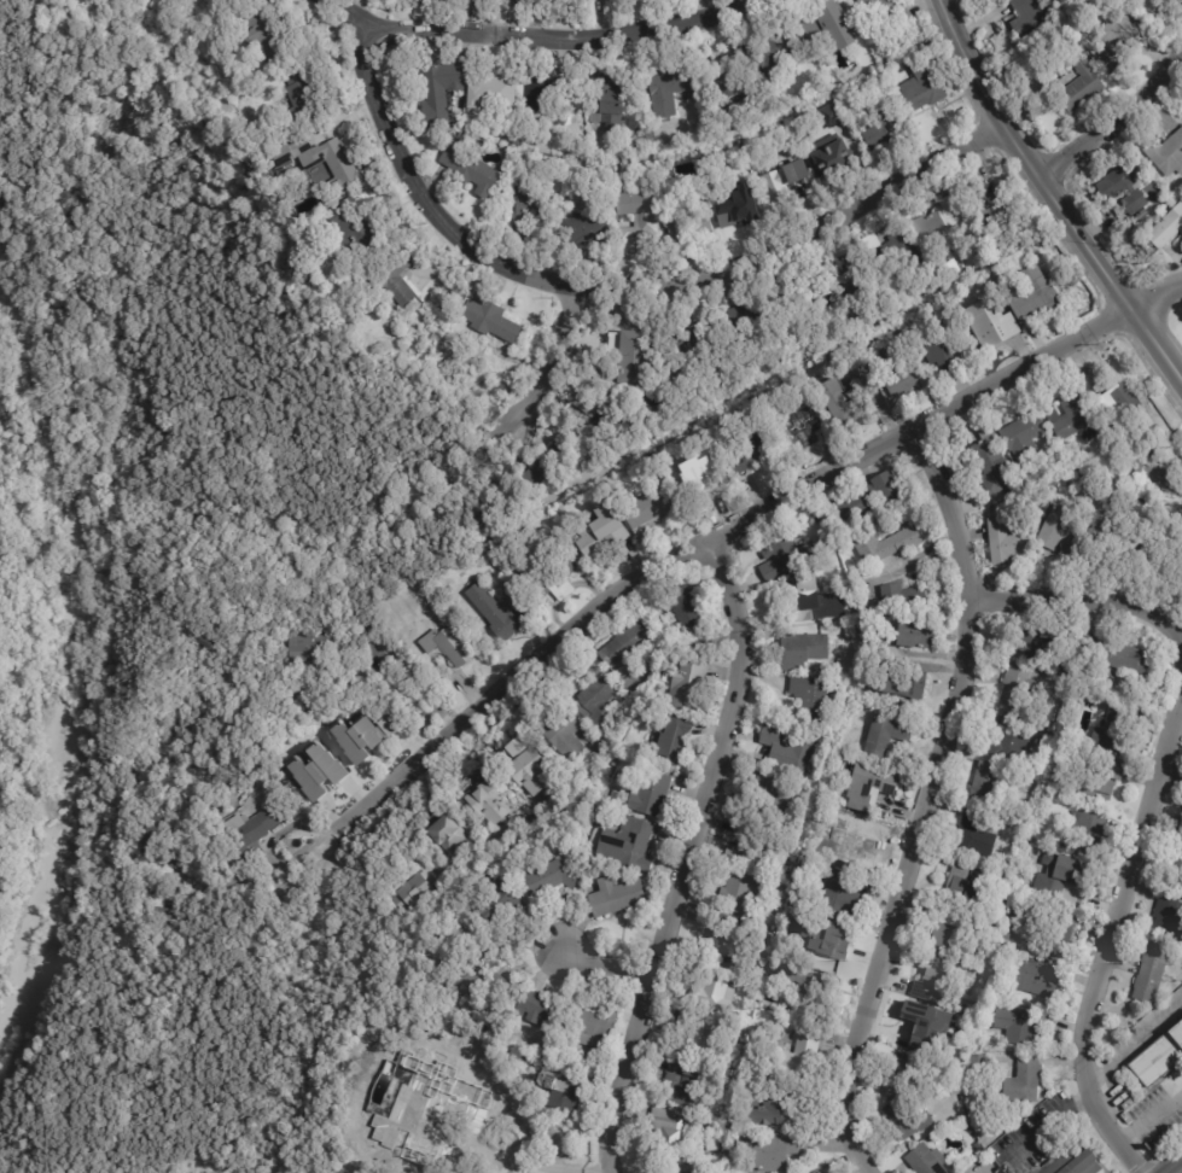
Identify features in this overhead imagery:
building: (219, 2)
building: (1146, 5)
building: (886, 12)
building: (121, 13)
building: (1029, 18)
building: (823, 25)
building: (262, 31)
road: (563, 35)
building: (1116, 42)
building: (774, 49)
building: (827, 57)
building: (727, 70)
building: (920, 86)
building: (1081, 88)
building: (493, 91)
building: (438, 92)
building: (670, 92)
building: (541, 97)
building: (843, 97)
building: (301, 98)
building: (609, 104)
building: (829, 115)
road: (1114, 124)
building: (881, 133)
building: (516, 142)
building: (526, 145)
building: (835, 151)
building: (1166, 154)
building: (283, 156)
building: (333, 162)
building: (468, 170)
road: (407, 176)
building: (782, 185)
building: (1124, 187)
road: (1050, 198)
building: (995, 209)
building: (531, 210)
building: (735, 215)
building: (634, 221)
building: (688, 223)
building: (943, 224)
building: (1029, 228)
building: (1166, 228)
building: (582, 230)
road: (797, 233)
building: (355, 234)
building: (927, 241)
building: (1027, 251)
building: (889, 253)
building: (947, 273)
building: (395, 278)
building: (1001, 280)
building: (843, 282)
building: (1032, 294)
road: (1155, 296)
building: (793, 309)
building: (755, 320)
building: (489, 321)
building: (991, 328)
building: (692, 339)
building: (939, 350)
building: (625, 351)
building: (829, 360)
road: (549, 367)
building: (898, 373)
building: (838, 404)
building: (1122, 410)
building: (1067, 418)
building: (592, 419)
building: (799, 426)
building: (1023, 438)
building: (1158, 445)
building: (749, 453)
building: (991, 465)
building: (1137, 468)
building: (543, 469)
building: (1126, 472)
building: (701, 478)
building: (871, 498)
building: (647, 514)
building: (699, 515)
building: (1177, 518)
building: (1058, 532)
building: (1101, 532)
building: (598, 538)
road: (712, 538)
building: (1008, 538)
building: (1149, 541)
building: (886, 545)
building: (1180, 553)
building: (790, 558)
building: (549, 576)
park: (170, 593)
building: (902, 600)
building: (814, 601)
road: (1084, 602)
building: (681, 607)
building: (871, 607)
building: (491, 613)
building: (854, 614)
building: (693, 631)
building: (915, 636)
building: (1032, 640)
building: (447, 647)
building: (872, 647)
building: (303, 649)
building: (802, 650)
building: (621, 652)
building: (1114, 653)
road: (412, 679)
building: (1065, 683)
building: (683, 687)
building: (898, 687)
building: (1015, 687)
building: (809, 698)
building: (594, 704)
building: (385, 729)
building: (1113, 729)
building: (885, 735)
building: (1007, 737)
building: (564, 739)
building: (353, 740)
building: (670, 741)
building: (786, 752)
building: (315, 774)
road: (1171, 775)
building: (526, 776)
building: (1097, 780)
building: (985, 783)
building: (869, 789)
building: (648, 796)
building: (768, 799)
road: (925, 799)
building: (483, 806)
building: (588, 811)
building: (254, 828)
building: (1087, 829)
building: (976, 833)
building: (443, 838)
building: (151, 839)
building: (625, 846)
building: (861, 846)
building: (749, 850)
building: (1032, 851)
building: (1177, 853)
road: (688, 856)
building: (175, 865)
building: (1030, 865)
building: (1058, 875)
building: (547, 881)
building: (963, 881)
building: (411, 883)
building: (738, 894)
building: (840, 895)
building: (615, 899)
building: (494, 904)
building: (1000, 905)
building: (1169, 912)
building: (1018, 914)
building: (831, 917)
building: (790, 918)
building: (161, 920)
building: (998, 924)
building: (949, 932)
building: (1055, 939)
road: (1107, 941)
building: (1178, 941)
building: (721, 943)
building: (826, 950)
road: (602, 964)
building: (1151, 971)
building: (963, 973)
building: (936, 976)
building: (1031, 976)
building: (474, 977)
building: (804, 988)
building: (988, 991)
building: (714, 992)
building: (540, 1011)
building: (930, 1025)
building: (1018, 1028)
building: (590, 1029)
building: (695, 1034)
road: (1134, 1045)
building: (977, 1046)
building: (800, 1057)
building: (1159, 1057)
building: (978, 1061)
building: (902, 1075)
building: (1025, 1080)
building: (676, 1084)
building: (565, 1097)
building: (785, 1110)
road: (1148, 1117)
building: (904, 1120)
building: (441, 1124)
building: (663, 1130)
road: (1052, 1130)
building: (365, 1133)
building: (711, 1142)
building: (765, 1150)
building: (977, 1150)
building: (924, 1161)
building: (1076, 1162)
road: (530, 1165)
building: (985, 1167)
building: (659, 1169)
building: (338, 1171)
building: (691, 1172)
building: (820, 1172)
road: (1181, 1172)

